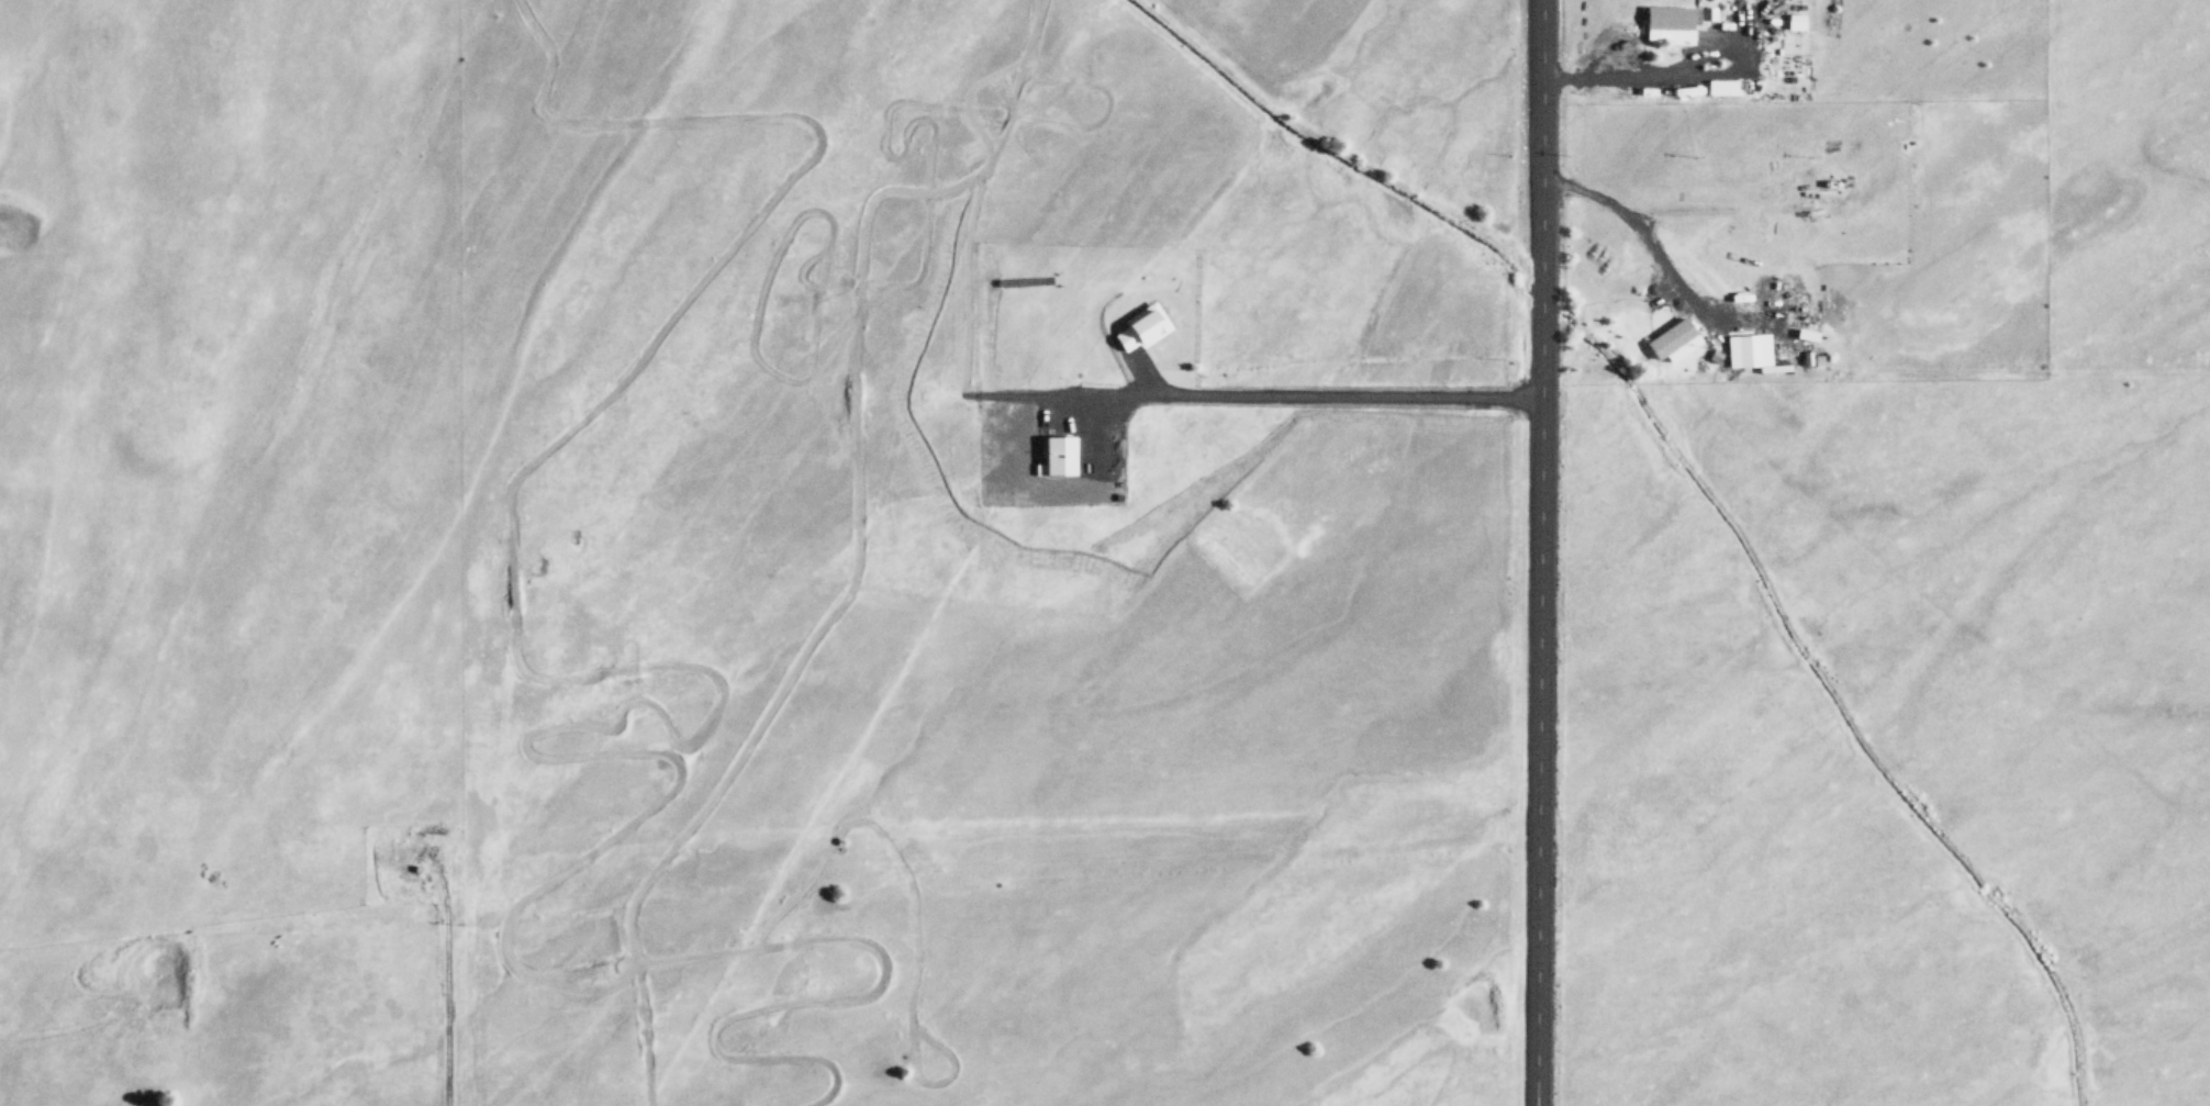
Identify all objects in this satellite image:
building: (1663, 19)
building: (1796, 22)
building: (1722, 88)
building: (1138, 325)
building: (1672, 337)
building: (1745, 348)
road: (1327, 394)
building: (1054, 454)
road: (1540, 552)

